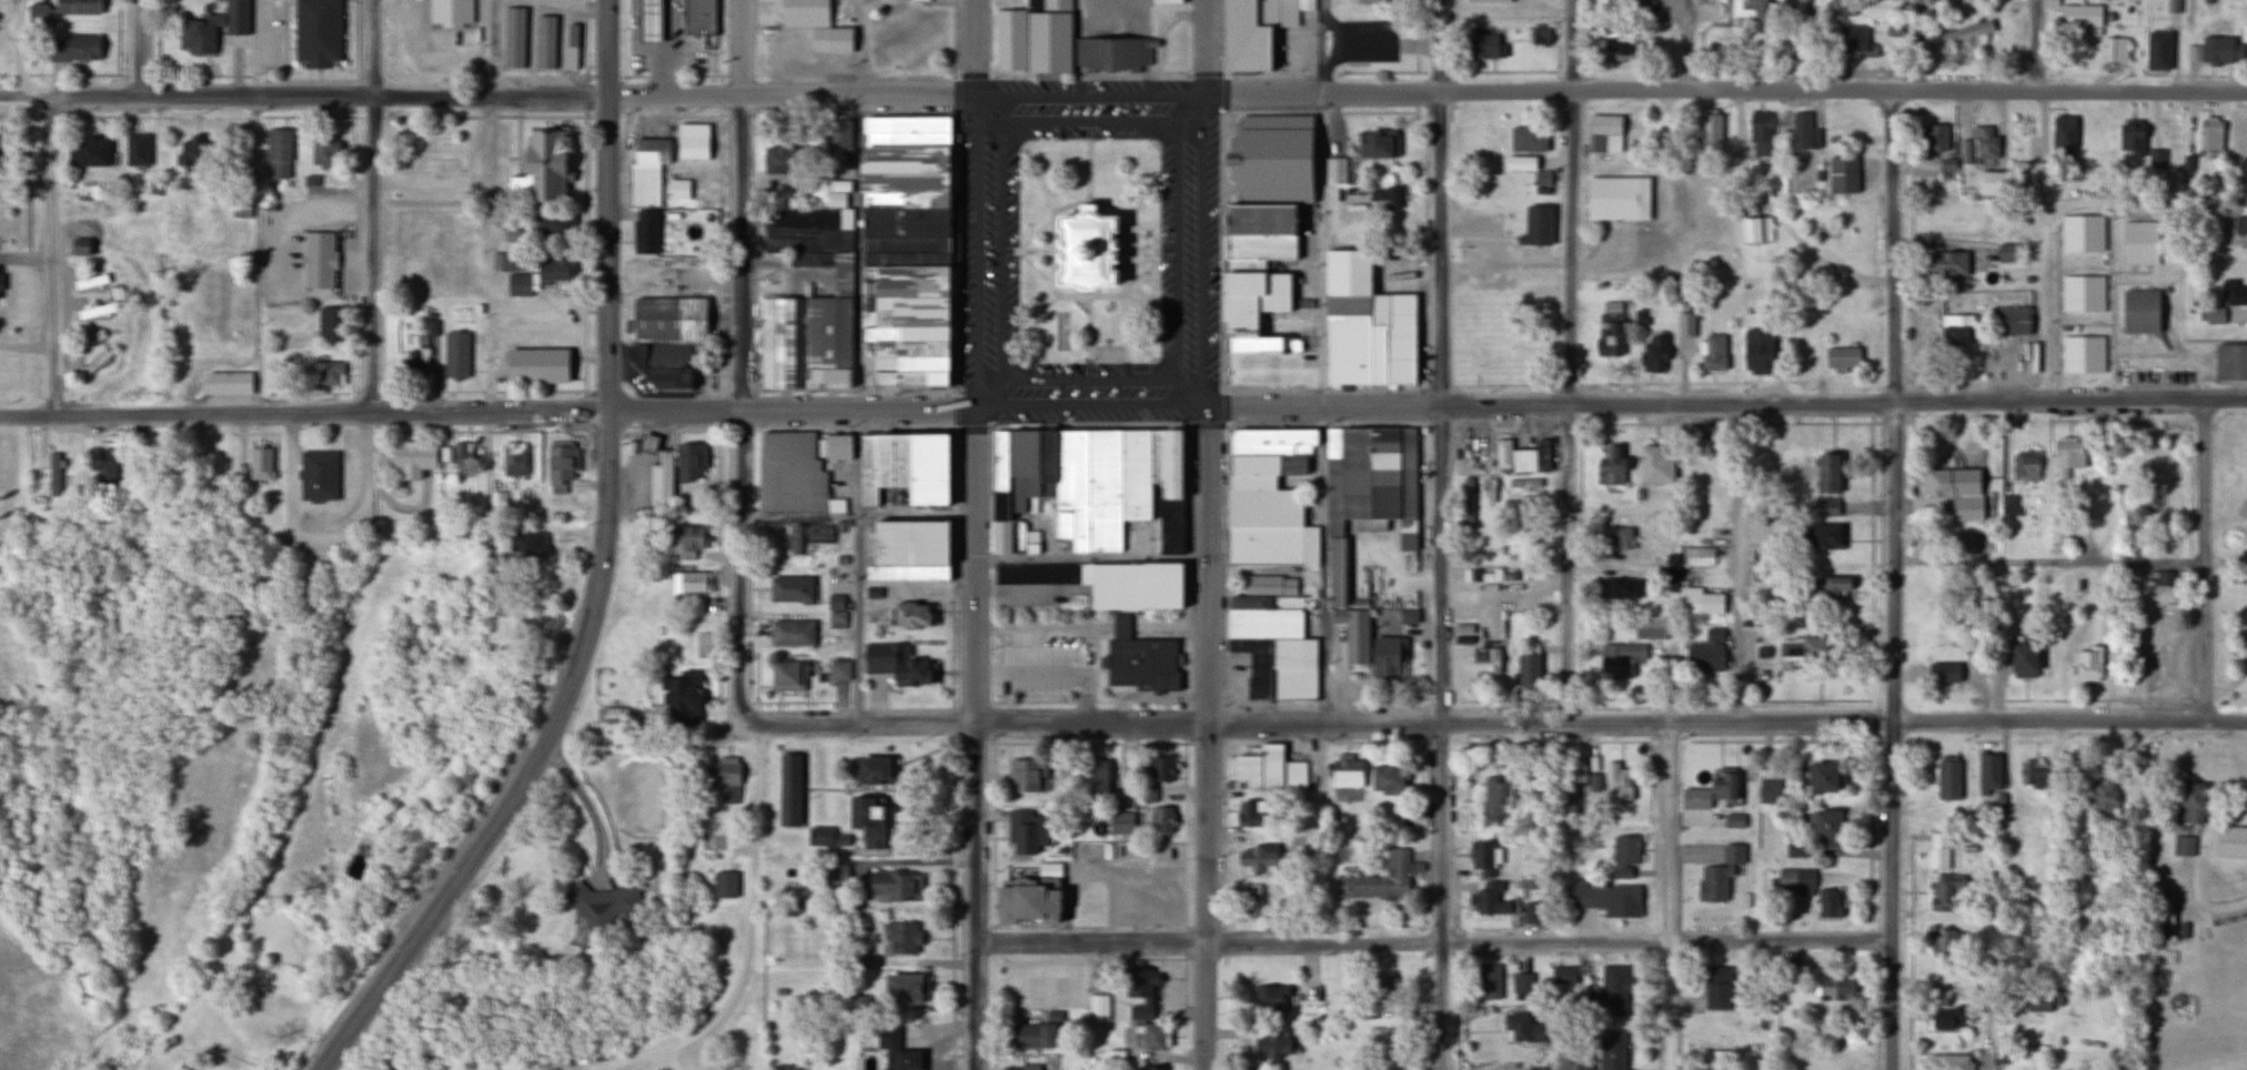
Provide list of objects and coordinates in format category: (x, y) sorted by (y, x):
building: (1167, 1)
building: (1487, 1)
building: (1379, 2)
building: (1601, 4)
building: (1837, 8)
building: (1749, 9)
building: (61, 10)
building: (804, 12)
building: (697, 16)
building: (2079, 16)
parking lot: (1111, 17)
building: (648, 20)
gas station: (648, 20)
building: (211, 28)
building: (318, 31)
building: (1962, 34)
building: (1248, 36)
park: (916, 37)
building: (1048, 37)
building: (1540, 37)
building: (513, 39)
building: (832, 39)
road: (1186, 39)
road: (1226, 39)
parking lot: (1367, 39)
road: (586, 41)
road: (956, 41)
building: (544, 42)
building: (1845, 42)
building: (572, 46)
road: (858, 46)
road: (1206, 46)
road: (1574, 46)
road: (1686, 46)
road: (1804, 46)
road: (1921, 46)
road: (2037, 46)
road: (137, 47)
road: (607, 47)
road: (743, 47)
road: (976, 47)
road: (1439, 47)
building: (1482, 47)
building: (1618, 47)
road: (255, 48)
road: (371, 48)
building: (73, 49)
road: (19, 50)
building: (1111, 50)
building: (2115, 50)
building: (2157, 51)
building: (2221, 51)
road: (1324, 70)
road: (673, 73)
road: (1088, 73)
road: (1206, 73)
road: (456, 74)
road: (606, 75)
road: (958, 75)
road: (974, 75)
road: (722, 78)
road: (1226, 91)
road: (1611, 91)
road: (721, 93)
road: (956, 94)
road: (487, 95)
road: (585, 97)
road: (1322, 111)
road: (673, 113)
road: (739, 113)
road: (854, 113)
road: (212, 115)
road: (373, 115)
road: (488, 115)
road: (607, 115)
building: (911, 122)
building: (1763, 123)
building: (838, 131)
building: (1710, 131)
building: (1801, 131)
building: (1604, 134)
building: (2209, 134)
building: (2063, 135)
building: (911, 137)
building: (1284, 137)
building: (1932, 138)
building: (1525, 140)
building: (1867, 140)
building: (2130, 140)
building: (1376, 143)
building: (693, 144)
building: (1978, 147)
building: (648, 148)
building: (135, 150)
building: (89, 151)
building: (189, 151)
building: (322, 151)
building: (276, 153)
building: (775, 157)
building: (2156, 159)
building: (543, 163)
building: (1260, 165)
road: (1089, 168)
building: (2018, 171)
building: (1333, 172)
building: (908, 173)
building: (1842, 175)
building: (643, 183)
road: (24, 184)
building: (1989, 184)
road: (433, 186)
building: (1260, 186)
building: (678, 189)
building: (1618, 196)
building: (1383, 199)
road: (1322, 203)
road: (492, 205)
building: (1262, 209)
building: (323, 213)
road: (1052, 214)
building: (908, 218)
building: (2240, 222)
building: (1262, 223)
building: (1535, 223)
building: (554, 224)
road: (1126, 224)
building: (1757, 230)
building: (644, 231)
building: (806, 231)
building: (2080, 233)
building: (909, 241)
building: (2139, 242)
building: (1262, 243)
building: (78, 245)
road: (1225, 245)
building: (1087, 248)
park: (1088, 248)
road: (1054, 249)
road: (1203, 249)
road: (859, 250)
road: (955, 250)
road: (721, 251)
road: (743, 251)
road: (372, 252)
road: (606, 252)
building: (2005, 252)
road: (585, 254)
road: (50, 255)
building: (908, 255)
building: (1246, 262)
building: (1945, 262)
road: (1035, 266)
building: (555, 269)
road: (1142, 270)
building: (419, 271)
building: (910, 277)
building: (90, 281)
building: (324, 285)
building: (2233, 292)
road: (1142, 294)
building: (1256, 294)
building: (2082, 294)
road: (1126, 304)
building: (910, 307)
road: (1038, 310)
building: (2139, 311)
building: (93, 312)
building: (2214, 315)
building: (669, 316)
building: (2008, 320)
building: (328, 323)
road: (1089, 324)
building: (1367, 324)
building: (1685, 324)
building: (827, 329)
building: (909, 330)
building: (1609, 330)
building: (1956, 330)
building: (89, 340)
building: (766, 340)
building: (787, 340)
building: (1251, 340)
road: (1107, 346)
road: (26, 347)
building: (1756, 350)
building: (914, 352)
building: (1653, 353)
building: (455, 354)
building: (1713, 354)
building: (2082, 354)
building: (1841, 357)
building: (2230, 361)
building: (414, 363)
building: (537, 363)
building: (661, 363)
building: (91, 365)
road: (1168, 372)
building: (324, 373)
building: (911, 374)
road: (1680, 382)
building: (225, 383)
road: (1504, 383)
road: (1569, 383)
road: (1438, 385)
road: (1225, 386)
road: (1326, 387)
road: (742, 388)
road: (857, 388)
road: (486, 390)
road: (1090, 406)
road: (1226, 406)
road: (859, 407)
road: (1571, 407)
road: (1726, 407)
road: (675, 408)
road: (954, 408)
road: (584, 410)
road: (303, 412)
road: (1727, 421)
road: (1327, 422)
road: (1438, 422)
road: (1503, 422)
road: (1089, 423)
road: (1207, 423)
road: (1226, 423)
road: (1568, 423)
road: (584, 425)
road: (973, 425)
road: (739, 426)
road: (854, 426)
road: (674, 427)
road: (484, 428)
road: (607, 428)
building: (1272, 438)
building: (835, 447)
building: (1157, 453)
building: (2067, 455)
building: (1521, 456)
building: (211, 457)
building: (411, 457)
building: (886, 457)
building: (901, 457)
building: (512, 458)
building: (459, 460)
building: (689, 461)
building: (1048, 461)
building: (1171, 462)
building: (259, 463)
building: (1291, 463)
building: (103, 464)
building: (1652, 464)
building: (558, 465)
building: (1024, 465)
building: (2025, 465)
building: (870, 466)
building: (928, 467)
building: (1610, 470)
building: (1001, 472)
building: (1136, 472)
building: (1824, 472)
building: (794, 473)
building: (53, 474)
building: (315, 475)
building: (659, 477)
building: (1524, 484)
building: (1089, 487)
building: (1367, 488)
building: (1491, 489)
building: (1955, 491)
building: (1468, 502)
building: (1826, 507)
road: (1872, 512)
building: (1266, 513)
building: (1170, 524)
building: (1002, 533)
road: (740, 535)
building: (808, 536)
building: (1822, 536)
building: (687, 538)
building: (1615, 538)
building: (516, 543)
building: (911, 544)
building: (1512, 551)
building: (1699, 553)
road: (857, 558)
road: (1090, 559)
road: (1186, 563)
road: (2206, 563)
road: (1580, 564)
road: (2069, 564)
road: (1226, 565)
road: (1323, 565)
building: (1670, 569)
building: (908, 572)
building: (1037, 573)
building: (2158, 577)
road: (1894, 579)
road: (976, 581)
building: (1268, 582)
road: (1442, 582)
building: (689, 583)
building: (1133, 585)
building: (1834, 587)
building: (789, 588)
building: (1616, 588)
building: (1271, 599)
building: (1710, 603)
building: (836, 612)
building: (913, 614)
building: (1407, 617)
building: (1267, 620)
building: (1353, 626)
building: (1649, 627)
road: (1044, 629)
road: (1119, 630)
road: (1166, 630)
building: (789, 633)
building: (1801, 648)
building: (1939, 652)
building: (1705, 653)
building: (1388, 655)
building: (1139, 658)
building: (1619, 658)
road: (992, 659)
building: (2021, 659)
building: (1484, 660)
building: (894, 663)
building: (1256, 663)
building: (2087, 663)
building: (2152, 664)
building: (1293, 666)
building: (838, 669)
building: (1528, 669)
building: (786, 675)
building: (678, 697)
road: (740, 697)
road: (992, 703)
road: (992, 720)
road: (1186, 721)
road: (869, 724)
road: (1611, 725)
road: (1206, 738)
road: (1322, 740)
road: (1091, 741)
road: (1207, 741)
road: (954, 745)
road: (531, 766)
building: (1258, 767)
building: (875, 768)
building: (1160, 769)
building: (1988, 771)
building: (1346, 773)
building: (1030, 774)
building: (1293, 774)
building: (1571, 774)
building: (2033, 774)
building: (1822, 776)
building: (1090, 777)
building: (1384, 777)
building: (1947, 777)
building: (726, 778)
building: (1616, 783)
building: (790, 787)
building: (1710, 790)
building: (1769, 791)
building: (1495, 796)
building: (2102, 797)
building: (2190, 801)
building: (866, 814)
building: (1249, 814)
building: (1160, 820)
building: (1733, 820)
building: (1120, 824)
building: (1824, 825)
road: (992, 831)
building: (1025, 832)
building: (840, 839)
building: (869, 841)
building: (2230, 841)
building: (2183, 845)
building: (1795, 849)
building: (1937, 850)
road: (2150, 850)
building: (1624, 855)
building: (1256, 858)
building: (1481, 858)
building: (1719, 875)
building: (835, 877)
building: (1383, 877)
building: (1796, 880)
building: (724, 885)
parking lot: (1129, 885)
building: (894, 886)
building: (1944, 892)
building: (1604, 896)
building: (1029, 897)
road: (1670, 897)
building: (1487, 899)
building: (604, 902)
building: (1248, 902)
building: (1827, 902)
building: (1529, 913)
building: (2164, 920)
road: (1183, 927)
building: (900, 938)
road: (992, 941)
building: (1943, 941)
road: (1435, 945)
building: (1563, 976)
parking lot: (1046, 979)
building: (1487, 981)
building: (1521, 983)
building: (1386, 987)
building: (1716, 987)
building: (904, 988)
building: (1834, 989)
building: (1139, 991)
building: (1609, 993)
building: (1269, 998)
building: (2187, 998)
building: (2042, 1000)
building: (1097, 1009)
road: (992, 1011)
building: (1946, 1018)
building: (1520, 1029)
building: (1035, 1032)
building: (1152, 1037)
building: (1717, 1040)
building: (1274, 1046)
building: (1382, 1049)
building: (1611, 1050)
building: (898, 1052)
building: (1948, 1061)
building: (1029, 1067)
building: (1150, 1068)
building: (178, 1069)

